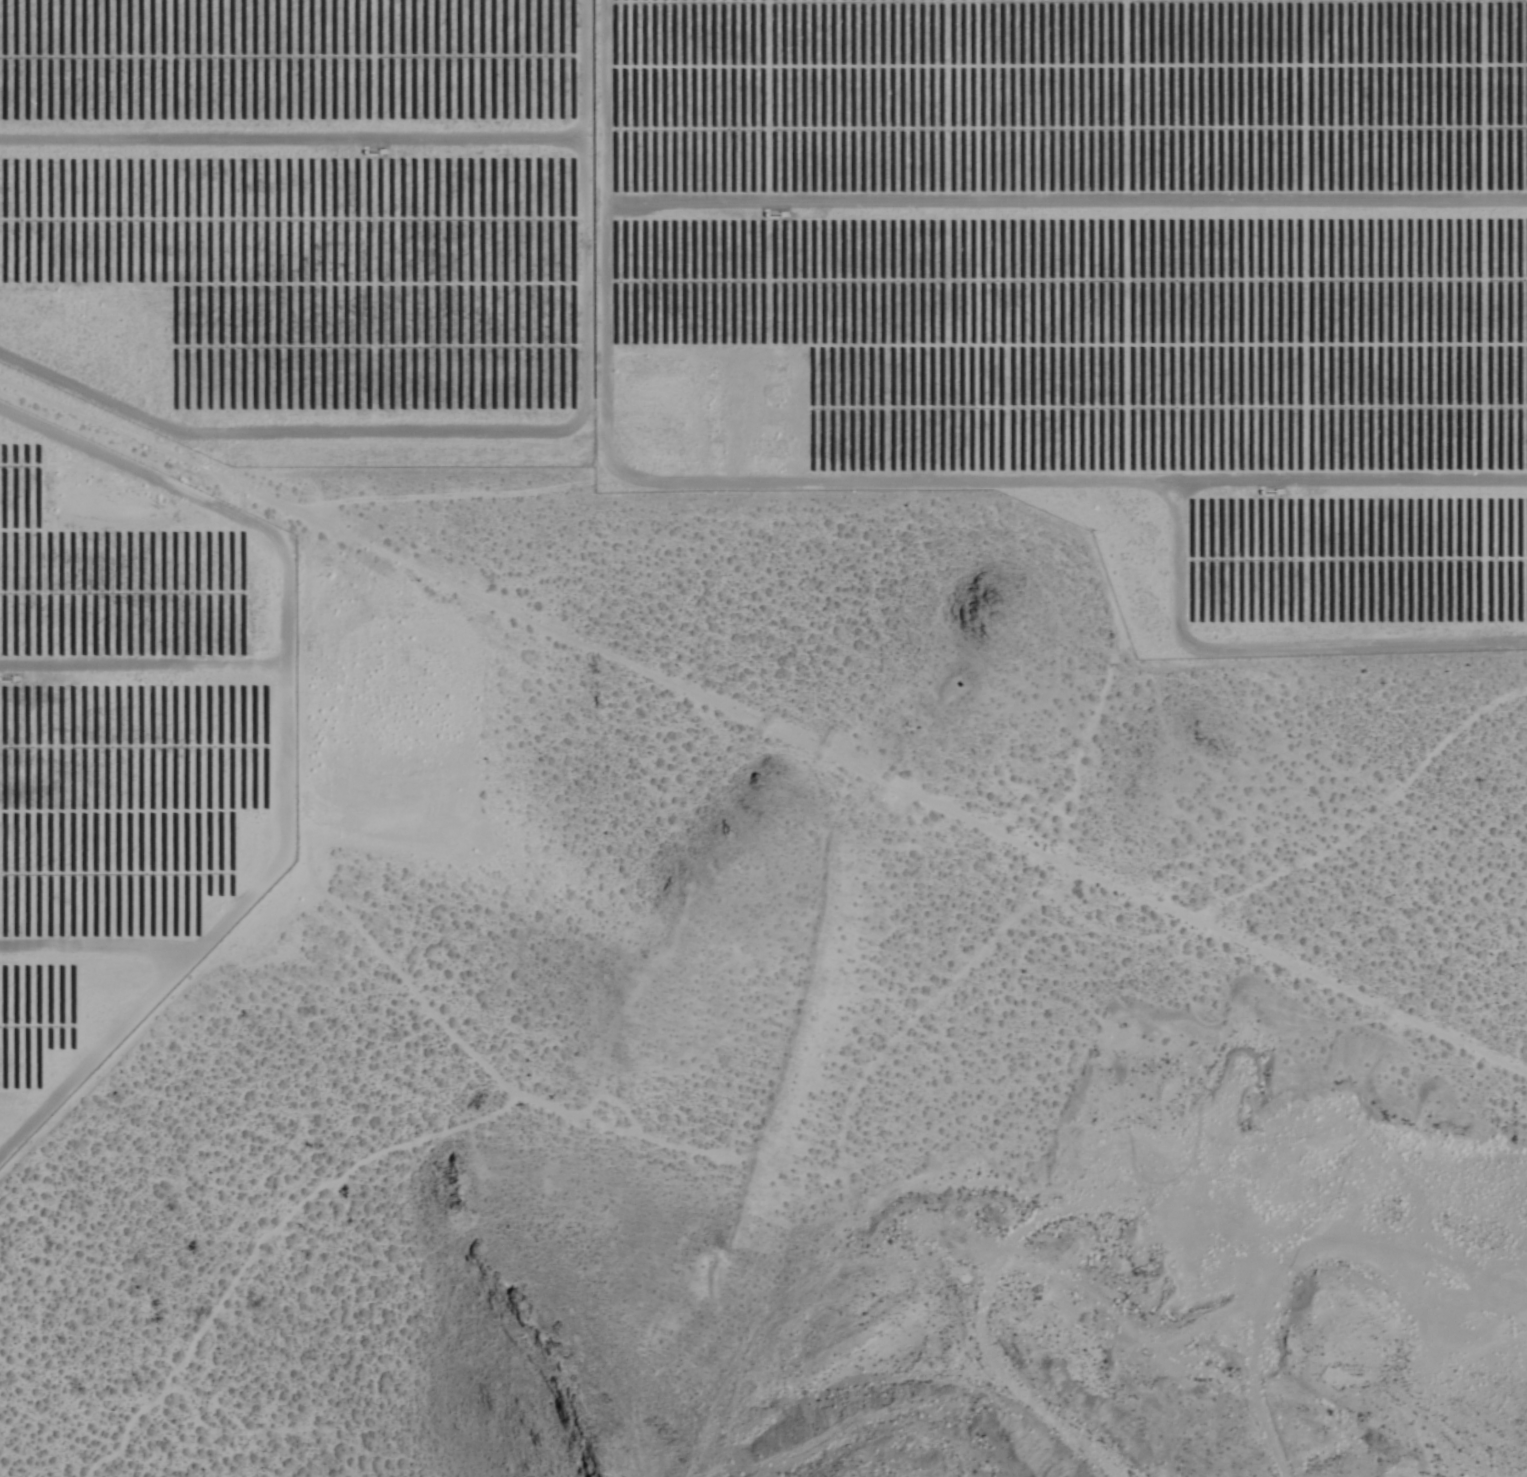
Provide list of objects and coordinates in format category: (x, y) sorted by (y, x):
solar farm: (303, 221)
solar farm: (1091, 285)
solar farm: (125, 736)
road: (1298, 1254)

